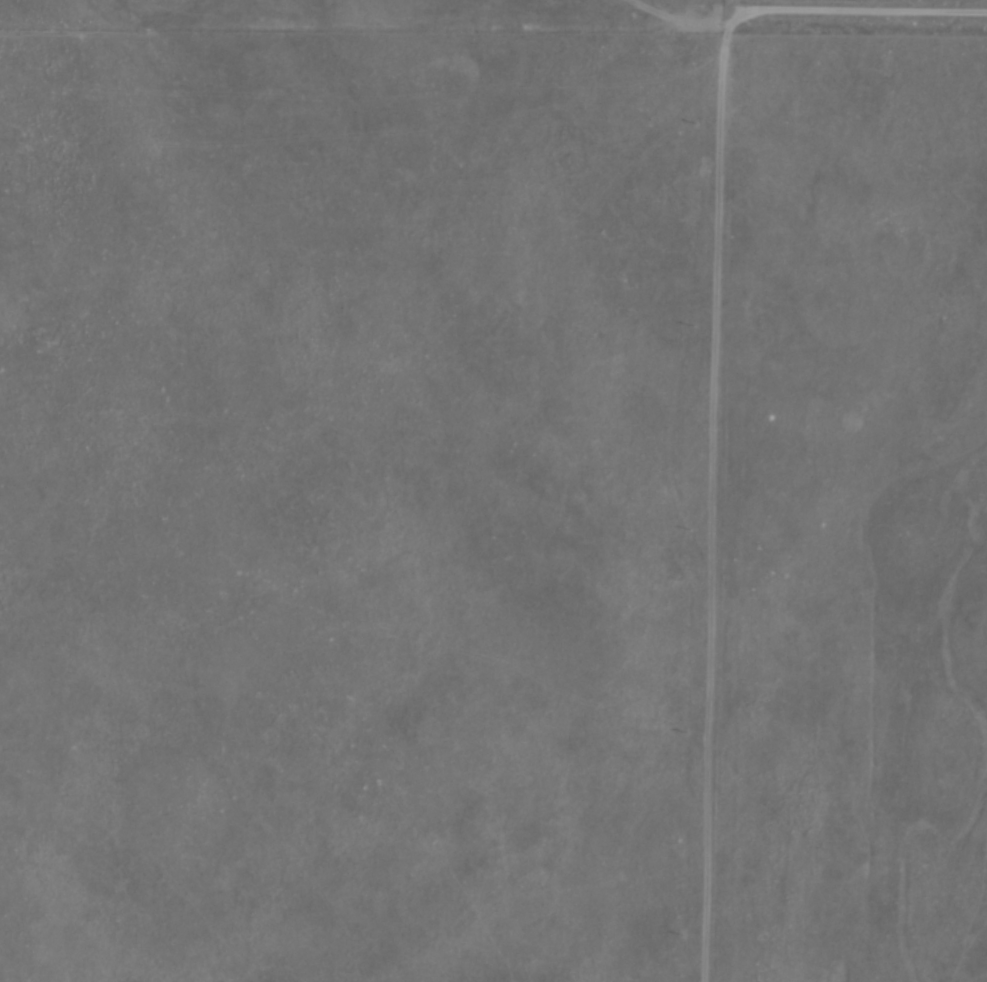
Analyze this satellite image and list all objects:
road: (865, 8)

